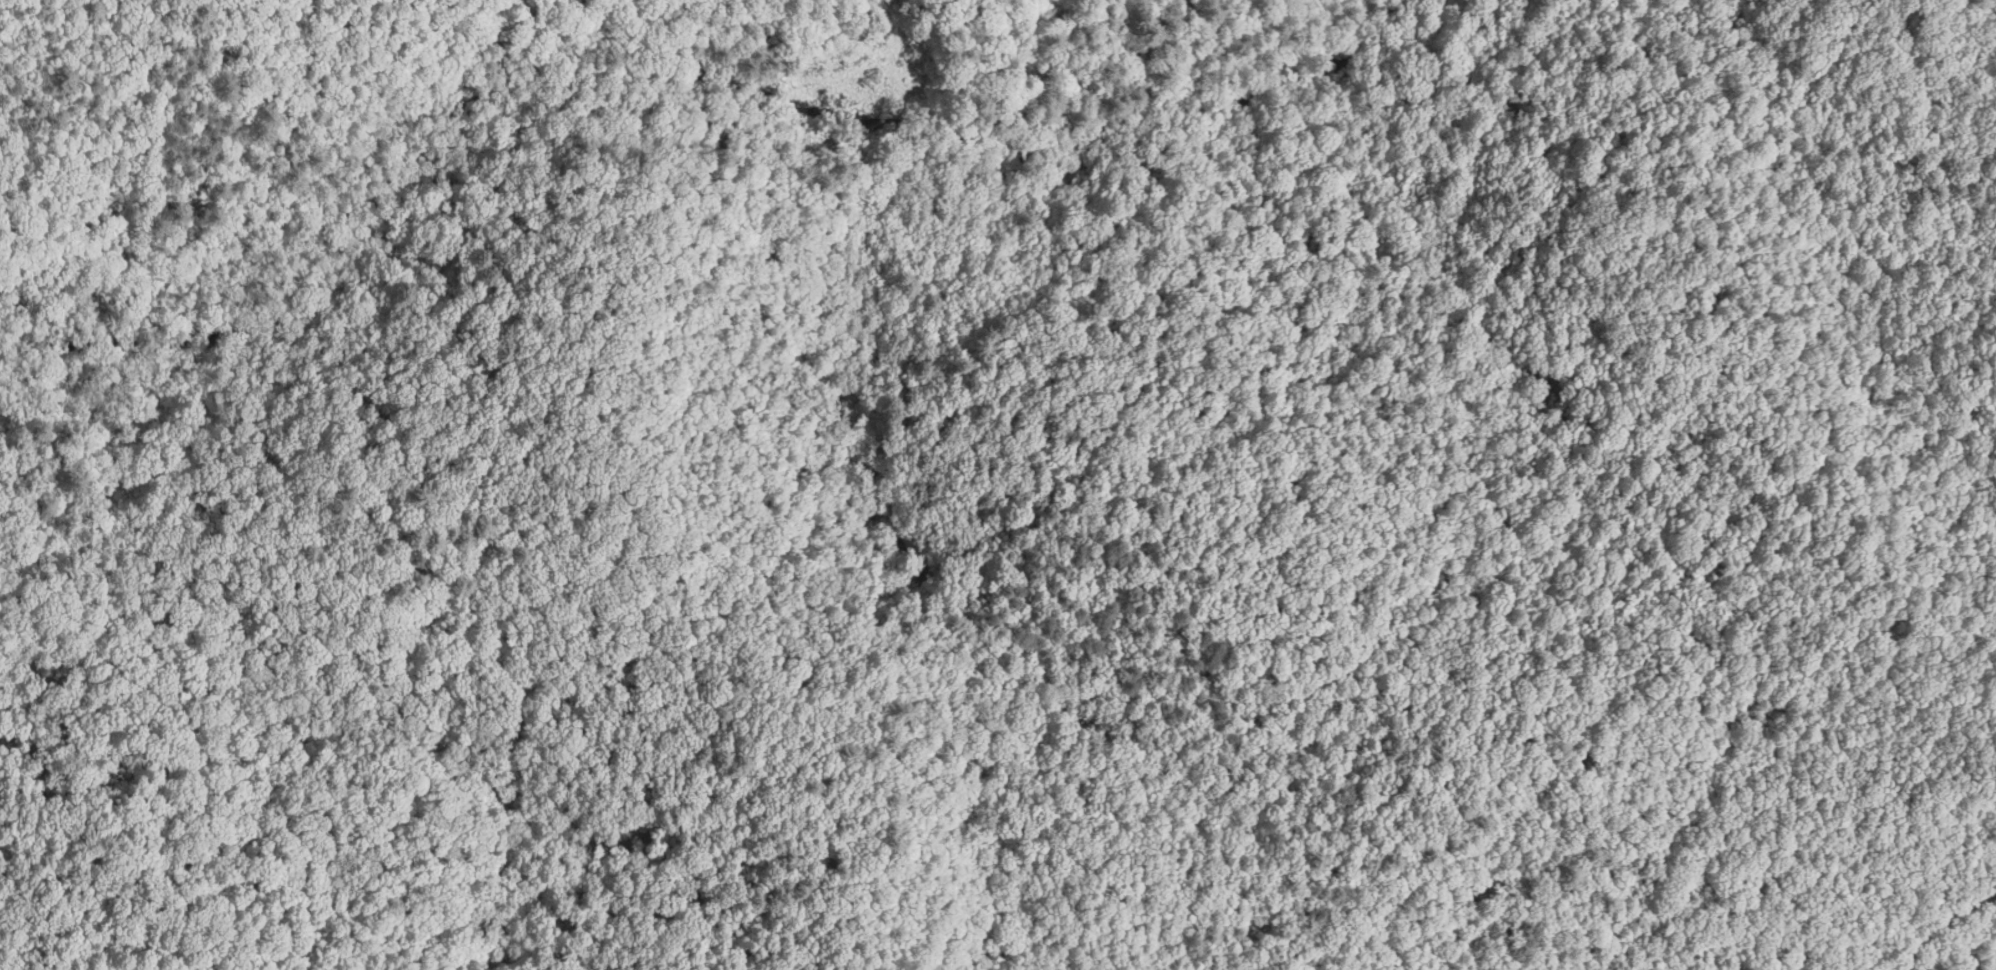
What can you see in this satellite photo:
road: (1942, 927)

